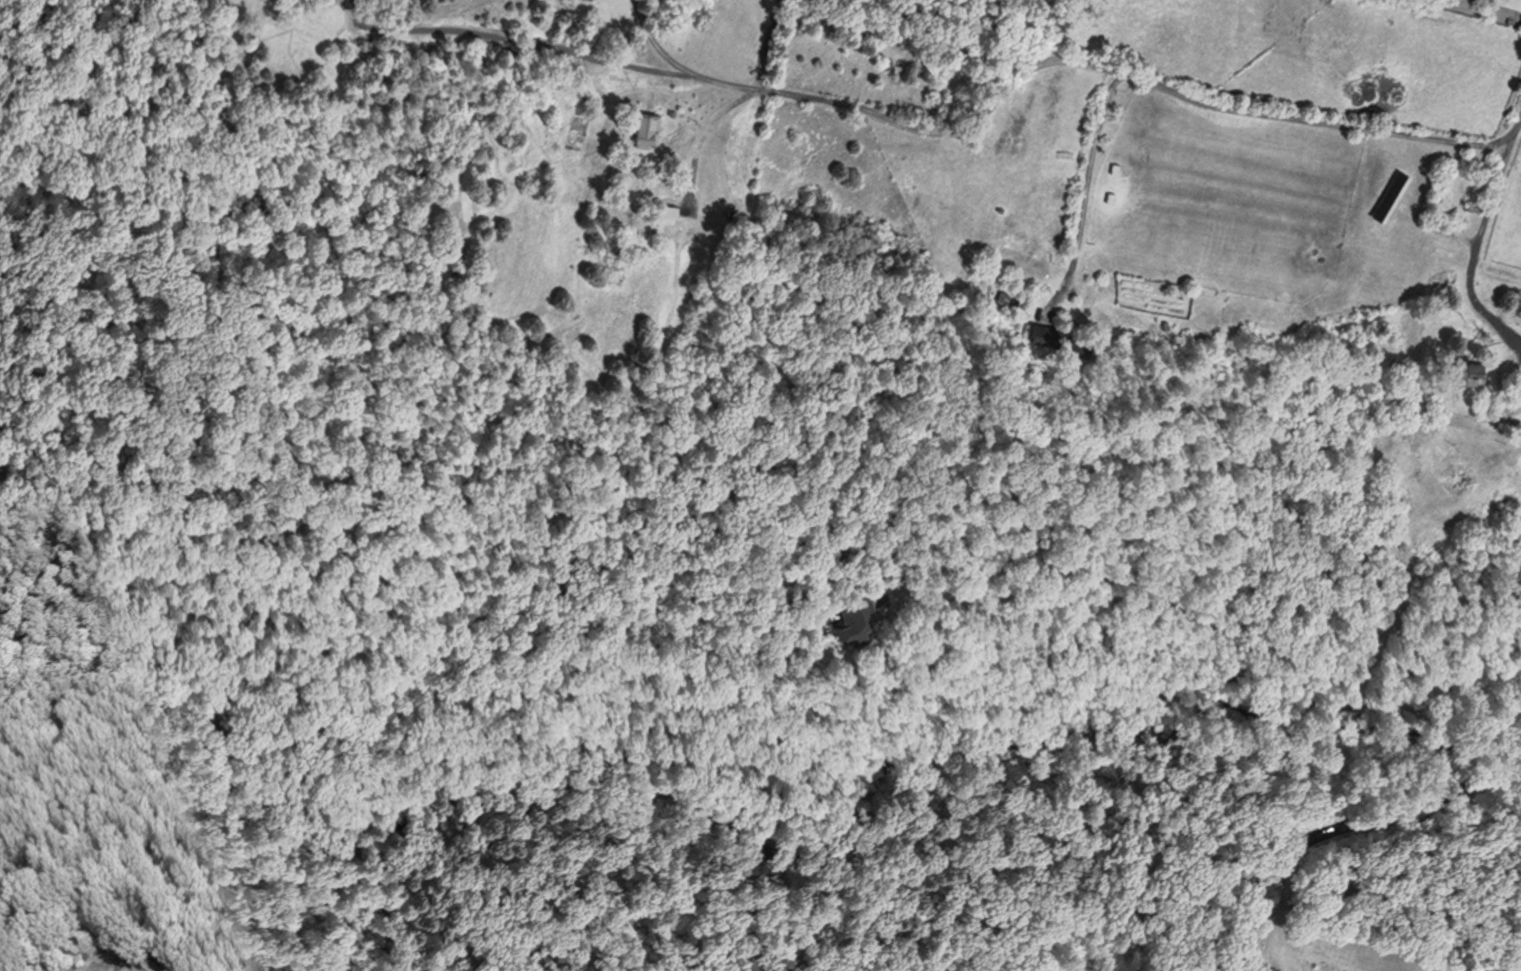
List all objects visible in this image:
road: (658, 44)
road: (764, 44)
building: (646, 123)
road: (708, 129)
road: (949, 130)
road: (1090, 188)
building: (1388, 189)
building: (665, 205)
road: (1474, 251)
building: (1063, 336)
building: (1463, 370)
building: (1514, 380)
building: (853, 617)
road: (812, 651)
road: (1067, 680)
road: (1342, 829)
building: (153, 953)
building: (175, 966)

